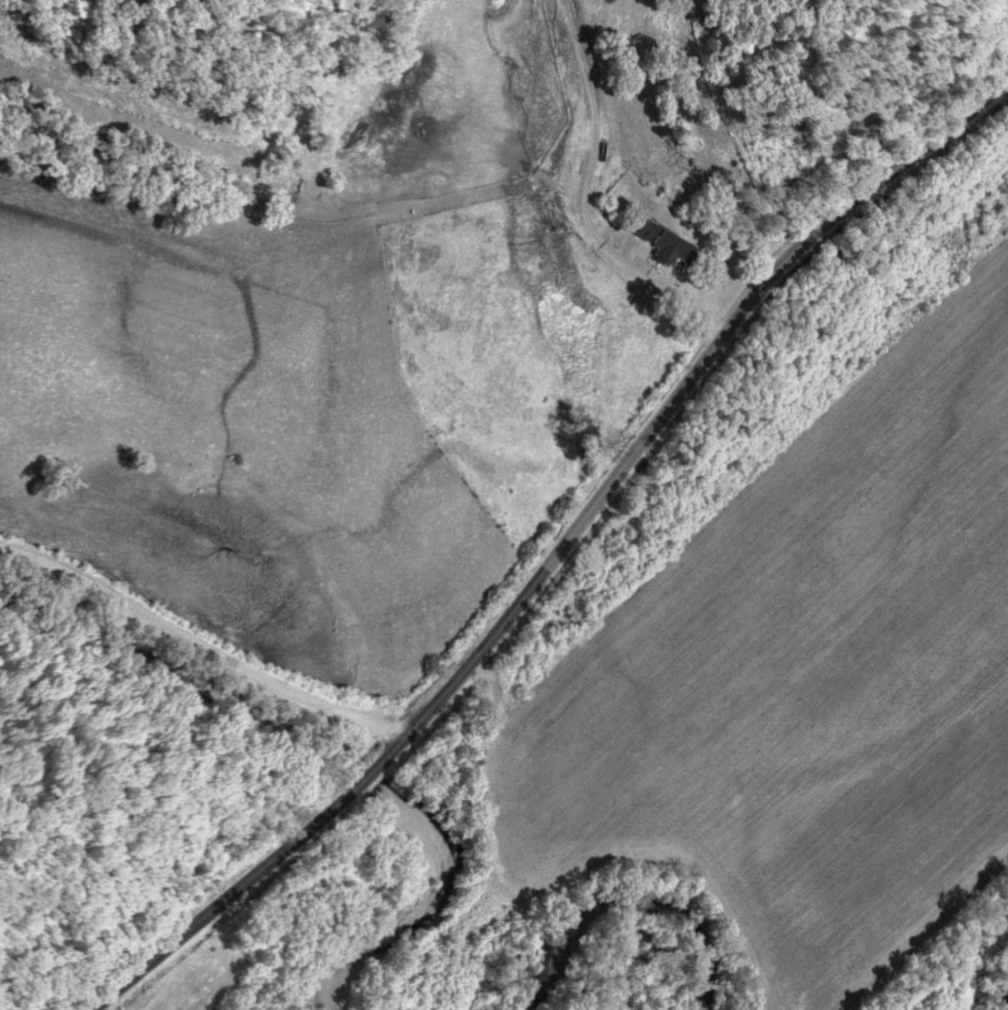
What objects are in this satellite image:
road: (583, 199)
building: (641, 228)
building: (667, 247)
road: (686, 391)
road: (193, 647)
crop: (798, 685)
road: (245, 875)

